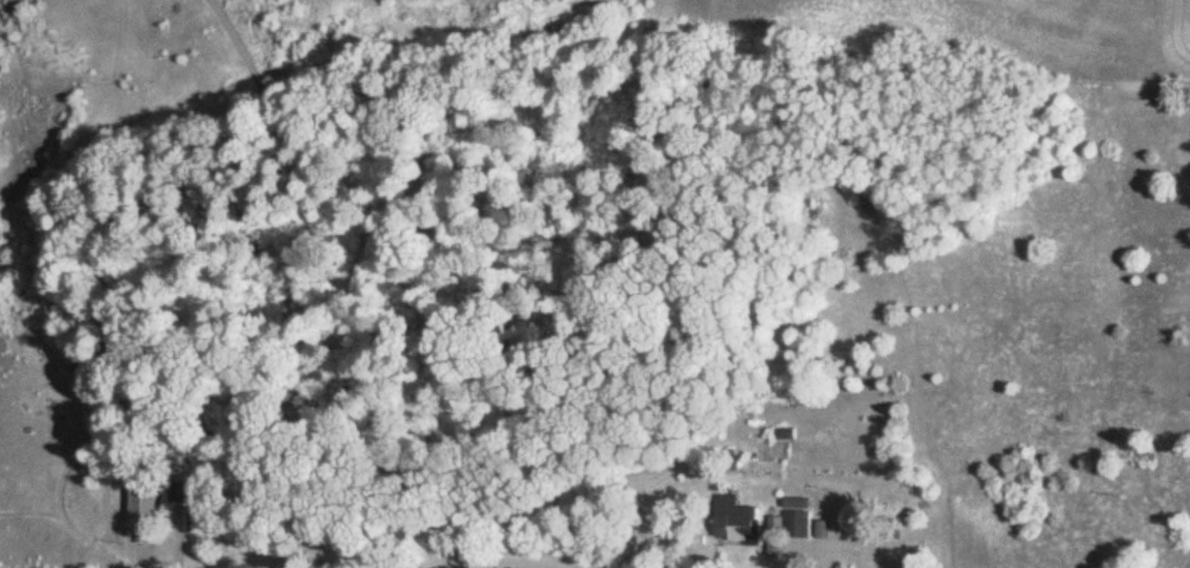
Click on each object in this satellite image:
building: (145, 501)
building: (202, 516)
building: (735, 516)
building: (795, 519)
road: (500, 561)

